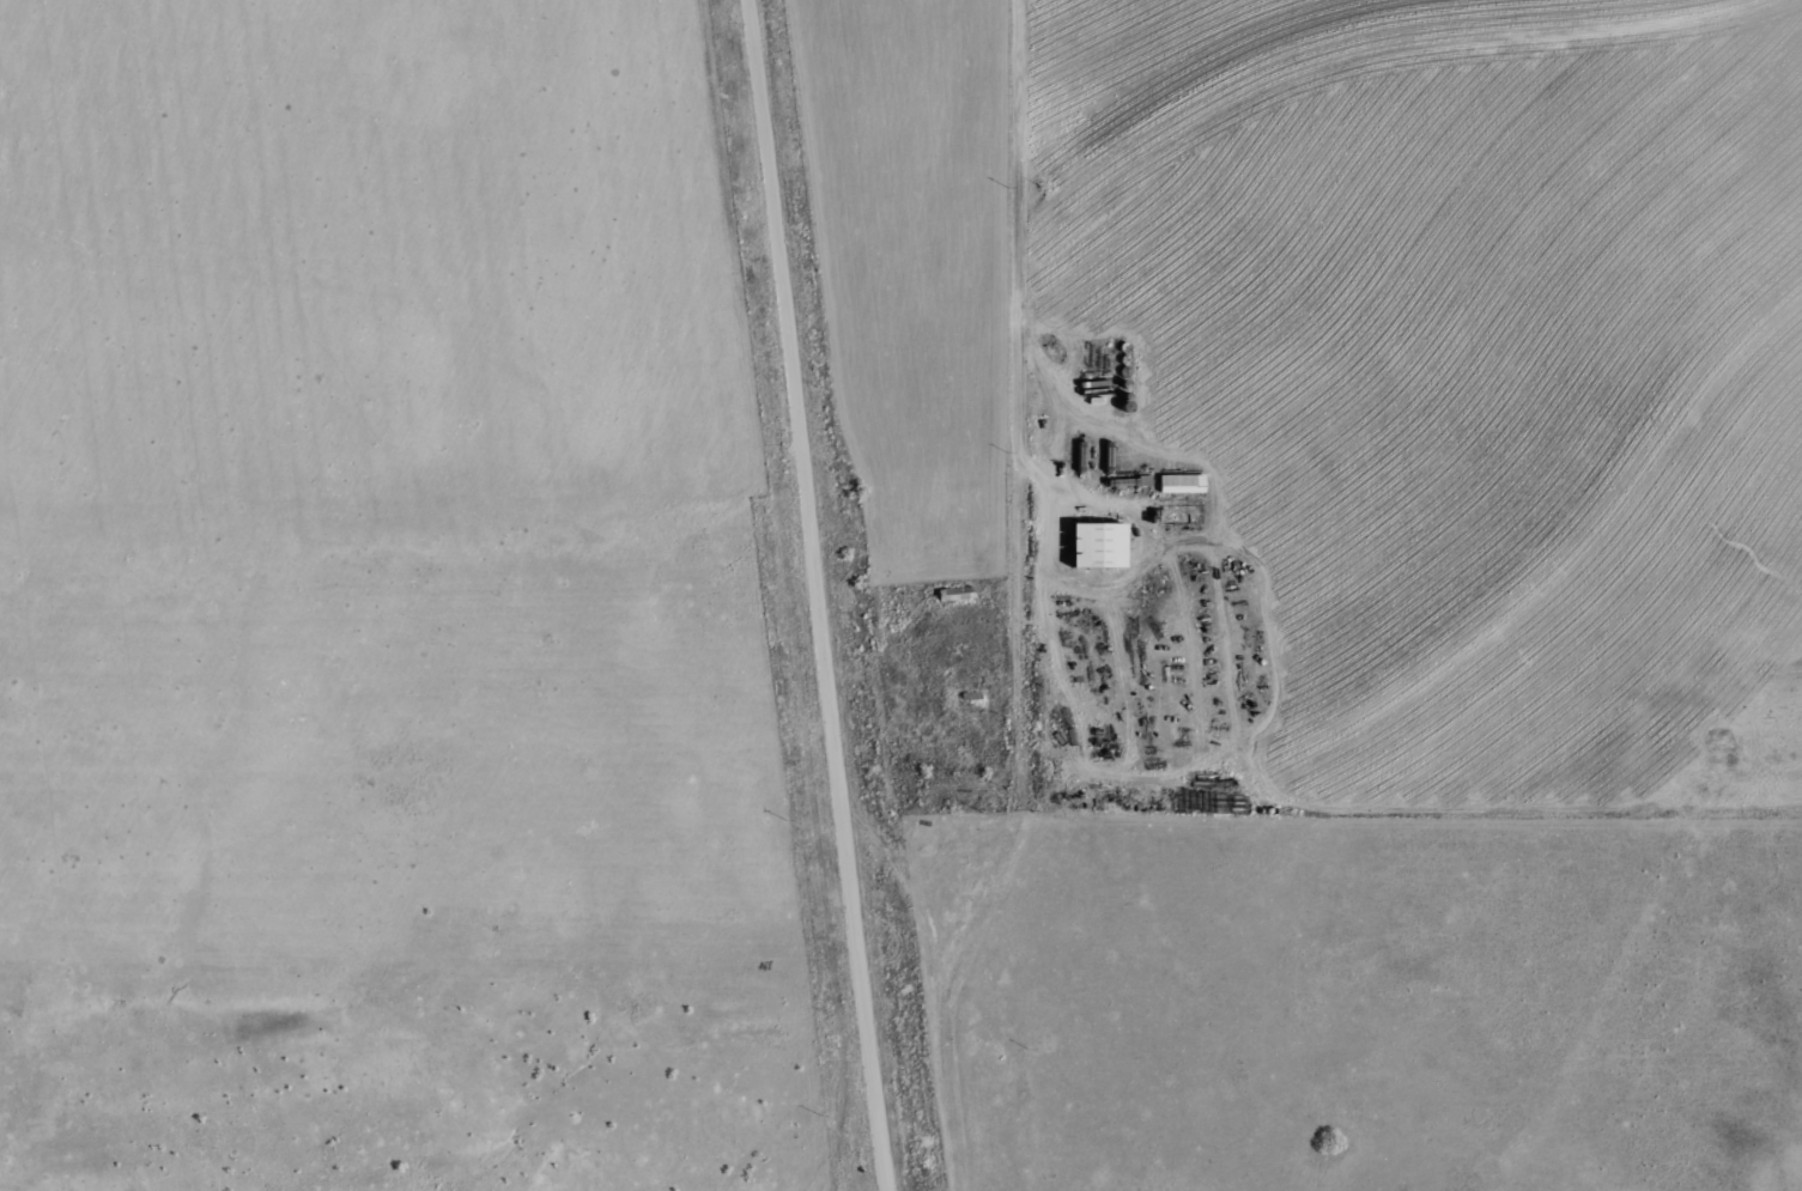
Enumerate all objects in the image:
building: (1178, 484)
building: (1091, 546)
railway: (794, 595)
road: (989, 607)

